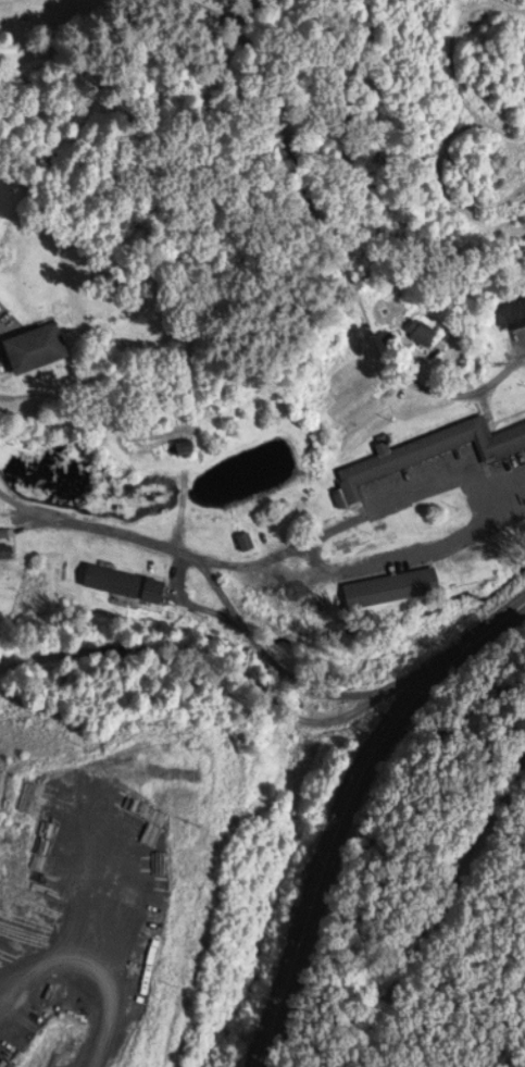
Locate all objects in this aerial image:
road: (339, 241)
building: (516, 308)
road: (9, 322)
building: (423, 330)
building: (39, 338)
building: (438, 450)
road: (0, 492)
building: (248, 541)
building: (8, 551)
road: (263, 558)
building: (127, 581)
building: (392, 590)
road: (490, 631)
road: (262, 648)
road: (241, 670)
road: (336, 849)

